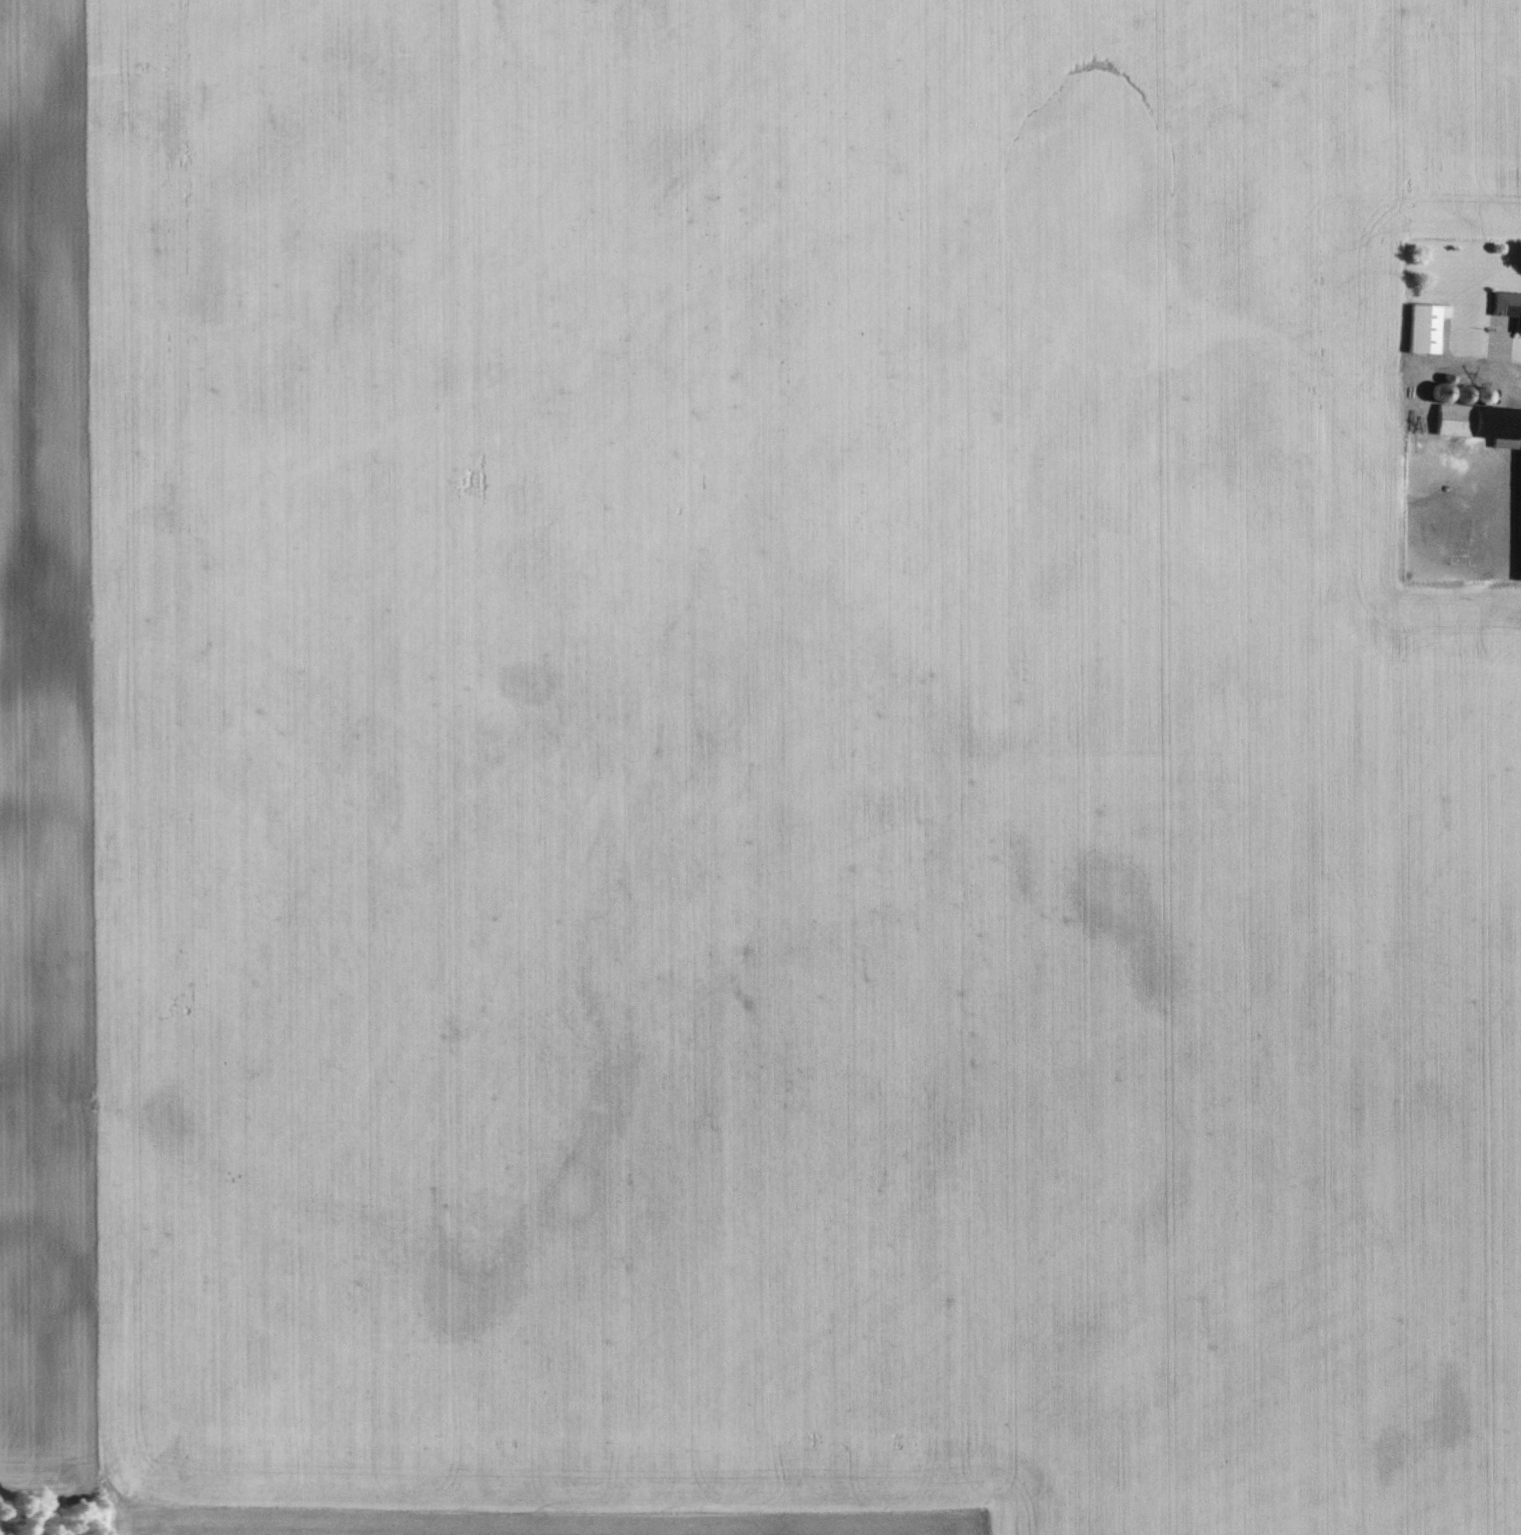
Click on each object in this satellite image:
building: (1418, 325)
road: (1473, 366)
building: (1445, 411)
building: (1515, 477)

